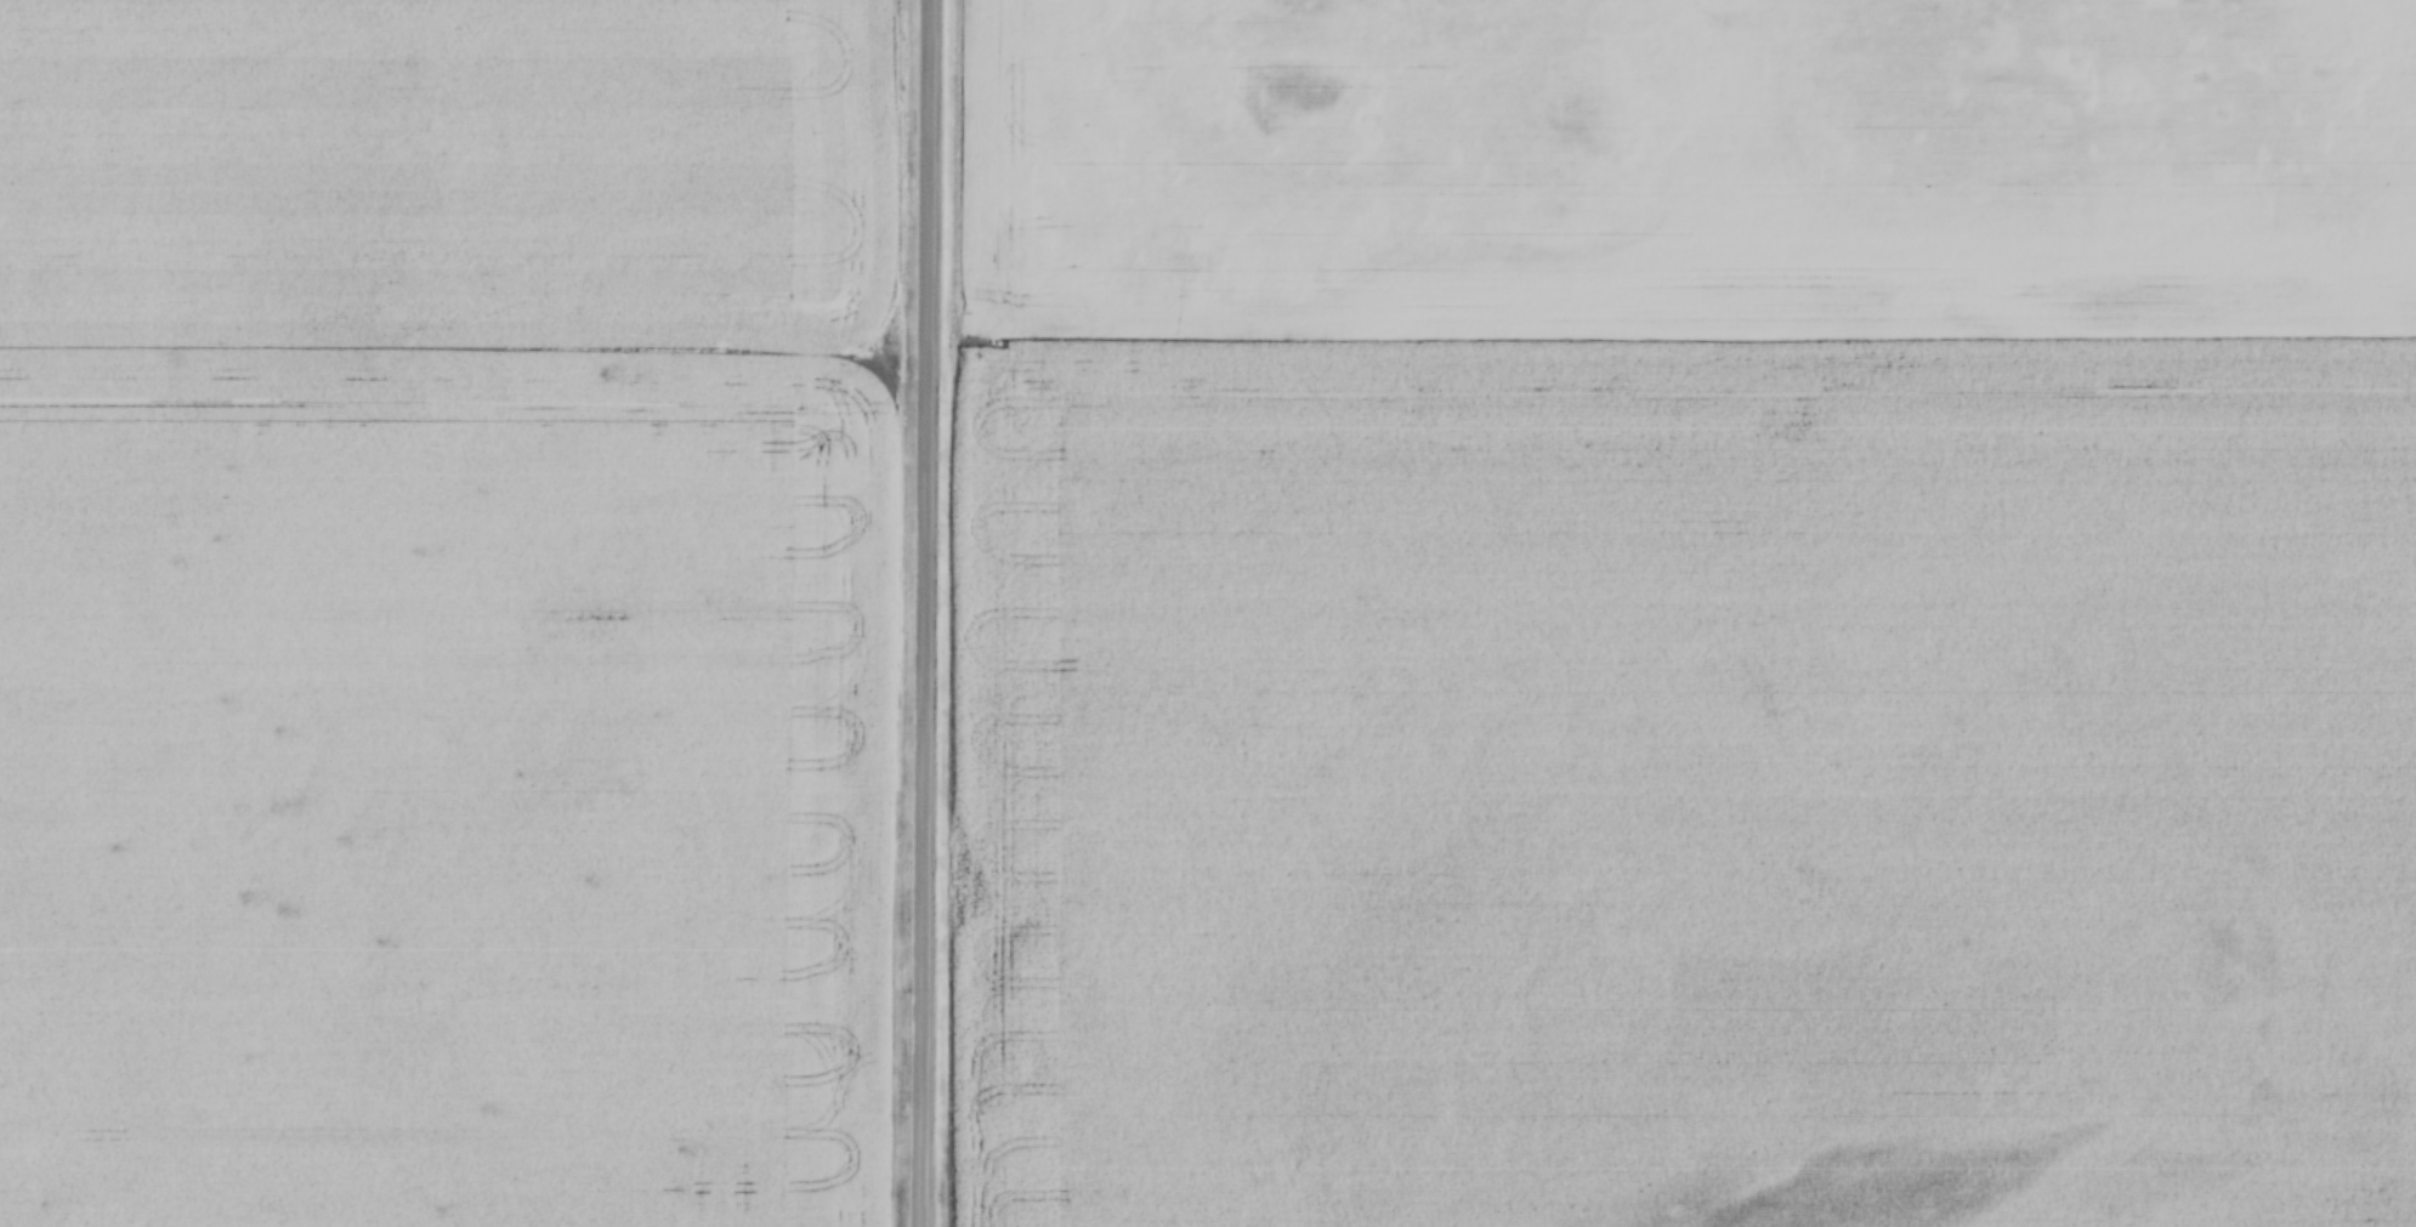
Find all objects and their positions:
road: (931, 613)

